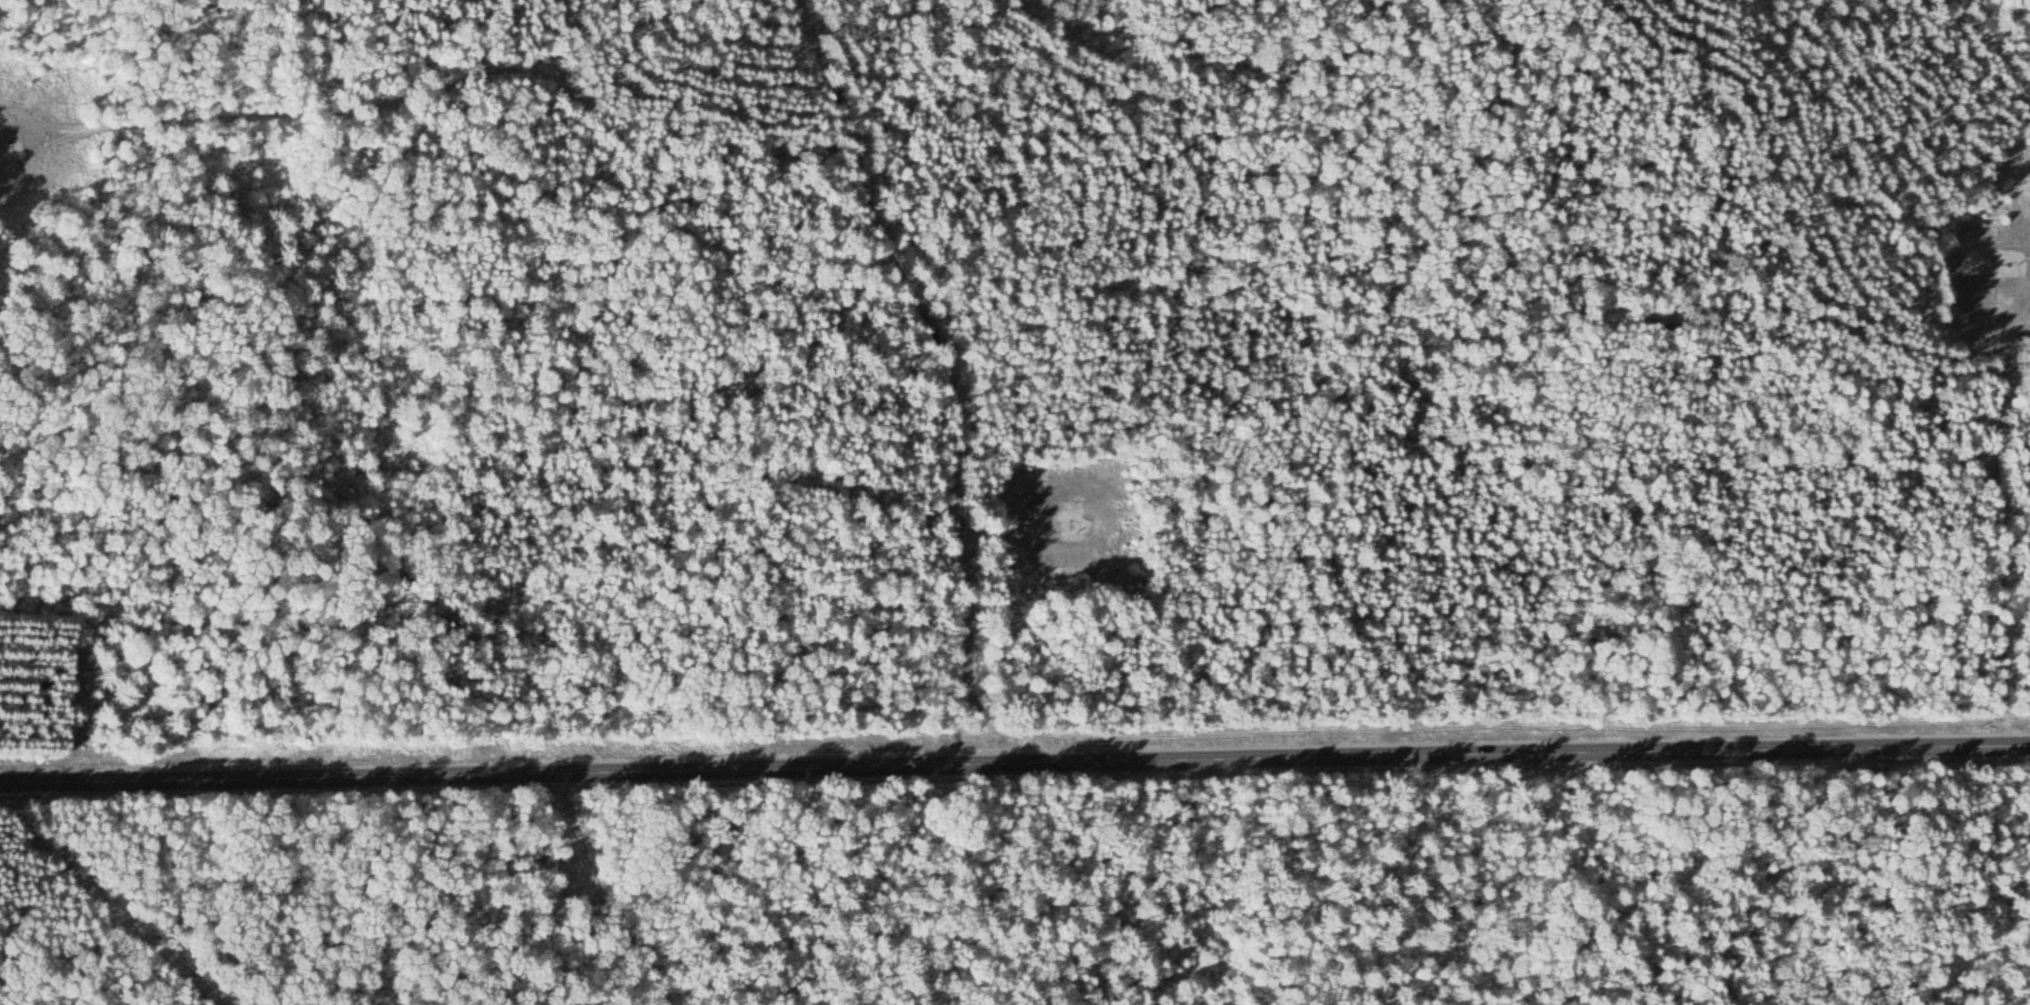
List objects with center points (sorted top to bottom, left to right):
road: (364, 97)
petroleum well: (1, 131)
petroleum well: (1998, 256)
road: (940, 370)
petroleum well: (1069, 514)
road: (1992, 518)
road: (1014, 539)
road: (1015, 767)
road: (589, 902)
road: (40, 909)

